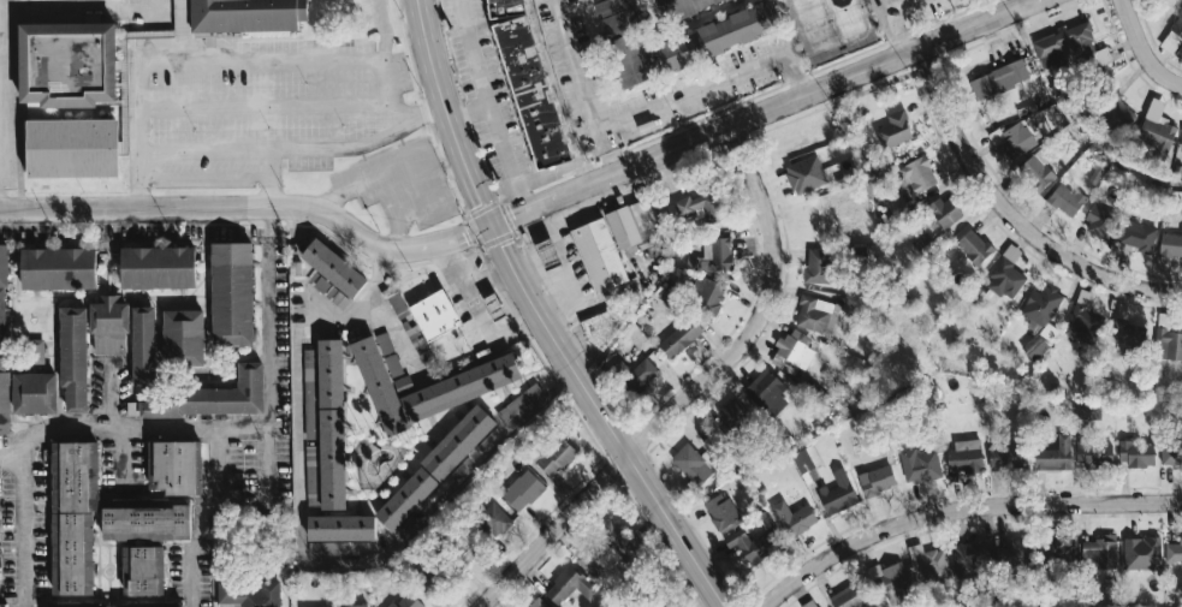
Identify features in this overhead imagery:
building: (667, 7)
building: (239, 16)
road: (896, 17)
road: (185, 31)
building: (720, 36)
building: (1172, 37)
building: (629, 38)
building: (1065, 48)
road: (1142, 50)
road: (384, 61)
building: (70, 63)
road: (262, 63)
building: (1000, 79)
road: (715, 81)
road: (588, 87)
road: (558, 91)
road: (806, 94)
road: (265, 105)
road: (488, 106)
road: (470, 114)
building: (1157, 129)
building: (895, 130)
road: (141, 133)
building: (1181, 139)
building: (1012, 141)
road: (362, 142)
building: (75, 148)
road: (206, 149)
building: (1035, 172)
road: (550, 173)
building: (806, 174)
road: (271, 177)
building: (917, 177)
building: (1065, 200)
road: (207, 206)
building: (896, 206)
building: (701, 207)
road: (531, 208)
building: (946, 212)
road: (1010, 216)
building: (1099, 221)
building: (638, 225)
traffic signals: (489, 226)
road: (447, 239)
building: (1135, 239)
building: (923, 245)
building: (1170, 245)
building: (974, 246)
building: (600, 255)
building: (712, 256)
road: (298, 261)
building: (159, 267)
building: (819, 267)
building: (59, 268)
building: (335, 268)
building: (1006, 279)
building: (320, 284)
building: (233, 293)
building: (707, 294)
building: (397, 303)
building: (4, 305)
building: (1040, 307)
building: (816, 315)
road: (272, 316)
building: (435, 316)
road: (540, 317)
building: (109, 322)
building: (1086, 325)
building: (605, 326)
building: (1128, 328)
road: (400, 337)
building: (1169, 337)
building: (184, 338)
building: (681, 338)
building: (145, 347)
building: (1034, 347)
building: (32, 351)
building: (792, 351)
building: (75, 358)
building: (309, 359)
building: (384, 381)
building: (463, 387)
road: (694, 392)
building: (35, 393)
road: (111, 393)
building: (767, 393)
building: (213, 397)
building: (5, 403)
building: (523, 407)
building: (735, 413)
building: (333, 426)
road: (136, 427)
road: (267, 427)
building: (463, 441)
building: (1138, 453)
building: (1171, 453)
building: (1055, 456)
building: (556, 457)
building: (966, 457)
building: (1006, 457)
building: (1094, 457)
road: (124, 458)
building: (806, 459)
building: (691, 465)
building: (920, 465)
road: (13, 466)
building: (176, 466)
building: (75, 476)
building: (877, 481)
building: (523, 490)
building: (838, 494)
building: (409, 499)
road: (28, 506)
road: (960, 508)
building: (721, 511)
building: (147, 519)
building: (794, 519)
building: (494, 520)
building: (341, 535)
building: (617, 540)
road: (198, 542)
road: (301, 547)
building: (750, 547)
building: (0, 548)
building: (1061, 551)
building: (1098, 552)
building: (73, 553)
building: (1174, 553)
building: (1141, 554)
building: (972, 560)
building: (929, 566)
building: (144, 570)
building: (889, 577)
building: (569, 585)
building: (249, 594)
building: (848, 597)
building: (406, 601)
building: (537, 603)
building: (4, 605)
building: (75, 605)

